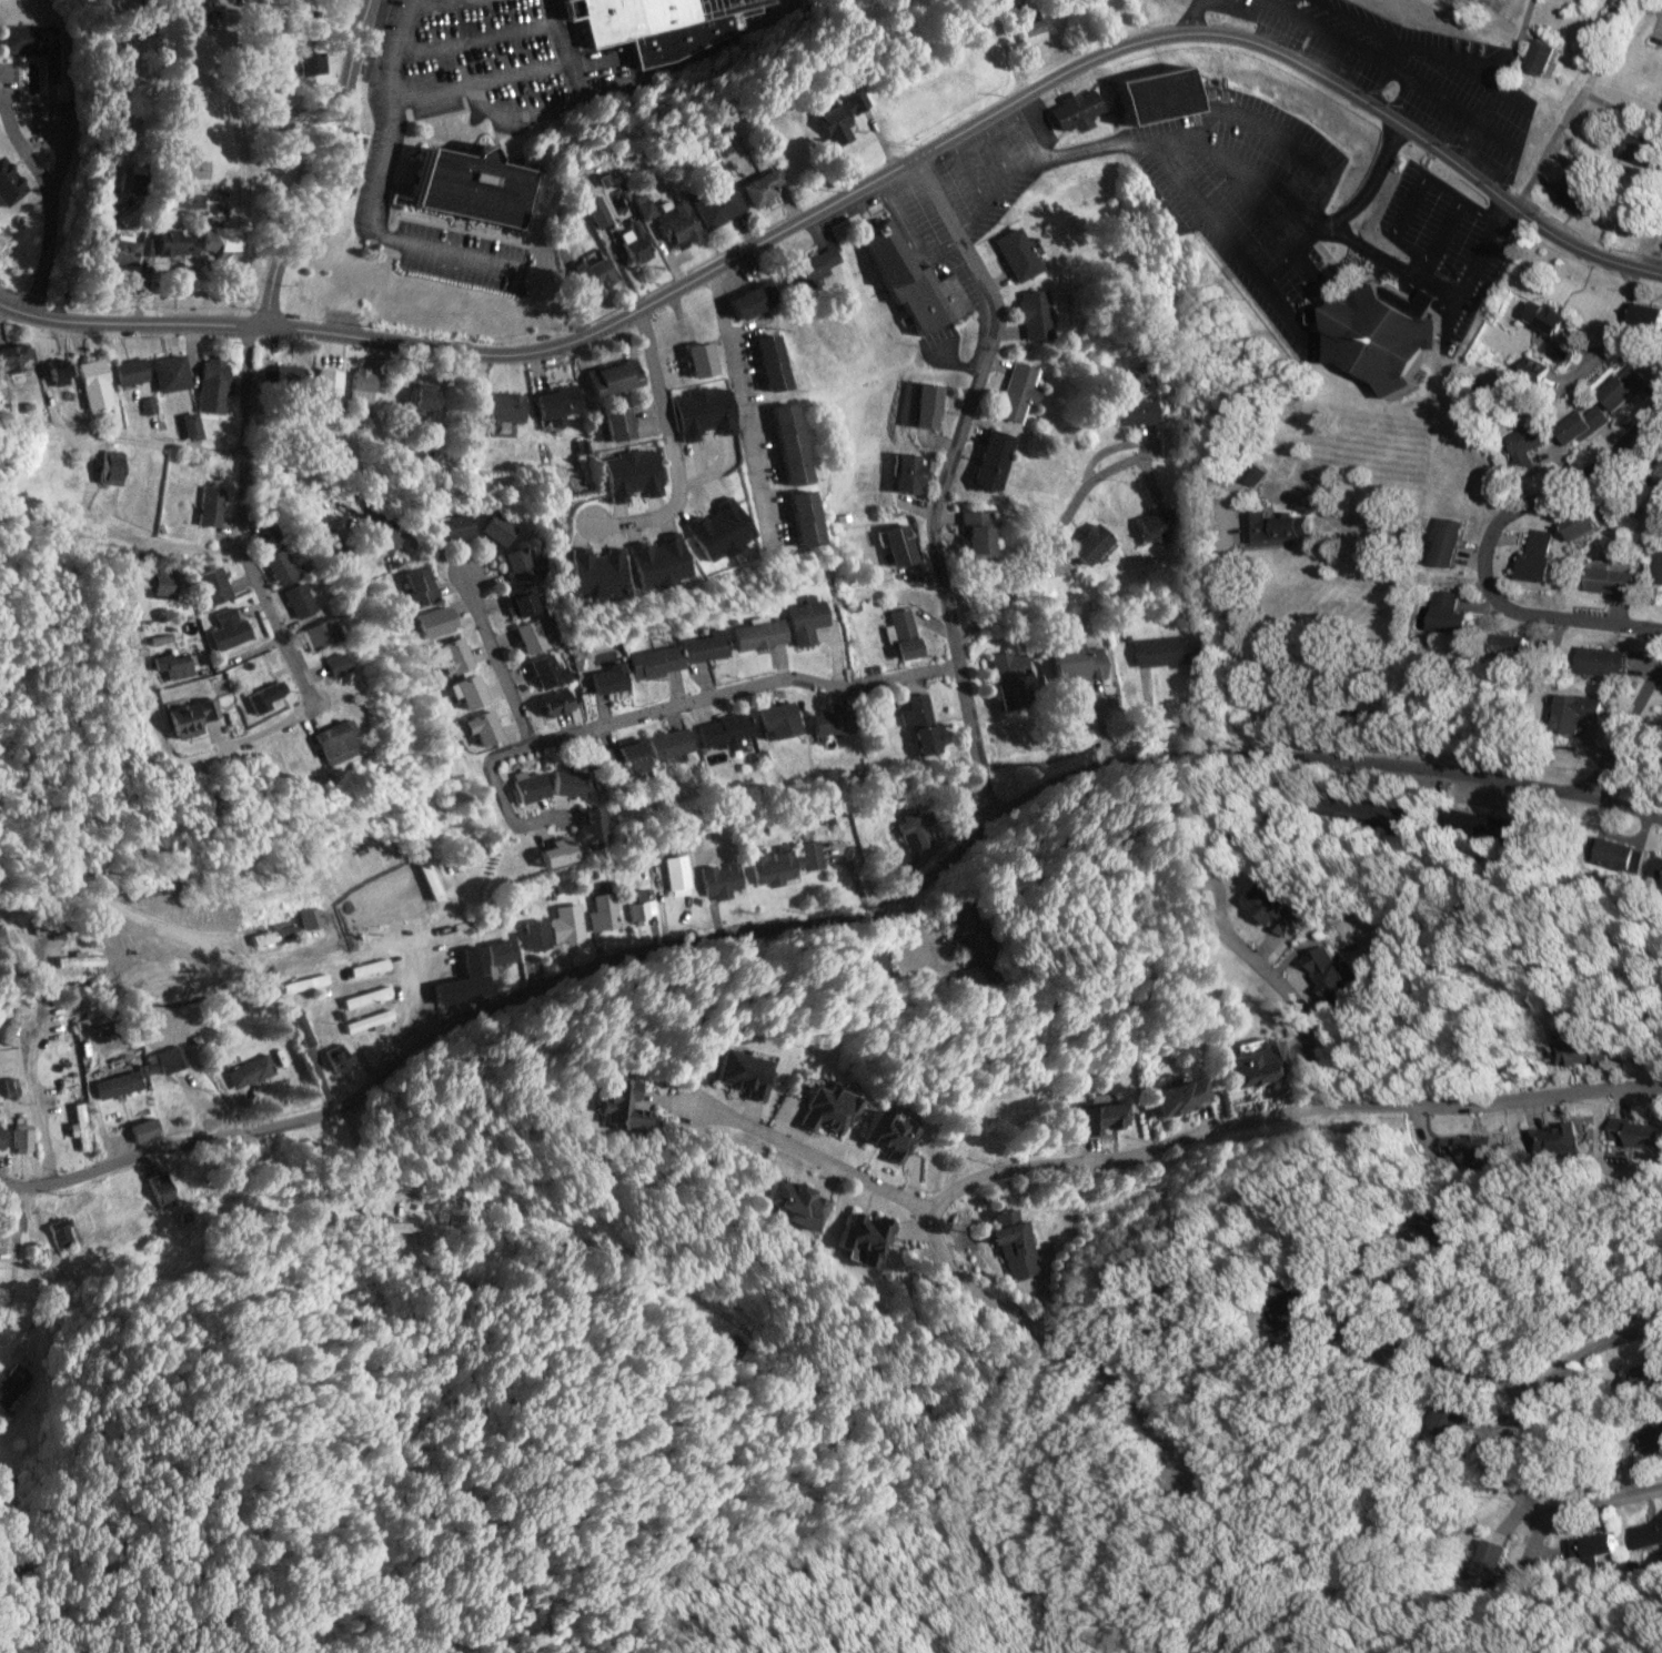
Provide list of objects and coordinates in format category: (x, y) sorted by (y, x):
road: (1236, 4)
building: (1612, 9)
road: (1190, 14)
road: (1358, 19)
building: (1027, 30)
building: (29, 39)
road: (1389, 52)
building: (1538, 53)
road: (1468, 63)
road: (1393, 68)
parking lot: (1403, 71)
building: (1149, 93)
road: (1487, 103)
building: (1069, 107)
building: (836, 118)
road: (1021, 130)
road: (1279, 133)
road: (1468, 143)
road: (993, 147)
road: (1081, 148)
building: (1635, 150)
road: (1233, 159)
parking lot: (991, 163)
road: (238, 167)
road: (330, 168)
road: (965, 169)
road: (860, 183)
road: (1416, 183)
building: (4, 184)
building: (466, 187)
building: (758, 189)
road: (994, 189)
parking lot: (1247, 198)
building: (1574, 198)
road: (47, 201)
building: (714, 205)
building: (595, 211)
road: (1342, 211)
road: (901, 212)
building: (675, 224)
parking lot: (916, 230)
road: (904, 236)
road: (1437, 236)
parking lot: (1442, 241)
building: (633, 243)
building: (161, 244)
building: (1014, 254)
road: (1389, 261)
road: (1470, 266)
building: (812, 270)
road: (708, 271)
building: (594, 274)
building: (908, 278)
road: (1407, 282)
road: (1423, 296)
building: (745, 300)
road: (1443, 301)
building: (1030, 314)
building: (1541, 316)
building: (1643, 319)
road: (1292, 323)
building: (1380, 333)
parking lot: (938, 343)
road: (1300, 344)
building: (11, 356)
building: (691, 360)
road: (954, 361)
building: (766, 362)
road: (652, 370)
building: (124, 371)
building: (164, 372)
road: (245, 373)
building: (53, 374)
building: (607, 377)
building: (209, 382)
building: (88, 383)
building: (356, 384)
building: (1620, 389)
building: (1013, 394)
building: (415, 400)
building: (553, 402)
building: (923, 406)
building: (495, 407)
road: (741, 410)
building: (1132, 411)
building: (611, 424)
building: (1578, 425)
building: (185, 426)
building: (779, 444)
building: (705, 454)
building: (984, 463)
building: (104, 468)
building: (905, 473)
road: (940, 475)
building: (1658, 475)
road: (274, 486)
building: (204, 506)
road: (665, 508)
building: (793, 518)
road: (240, 523)
building: (1156, 525)
building: (1579, 525)
building: (452, 527)
building: (1275, 527)
building: (496, 528)
building: (382, 533)
building: (970, 533)
road: (1050, 534)
road: (1483, 541)
building: (1443, 543)
building: (895, 545)
building: (1086, 545)
building: (1535, 557)
building: (1658, 564)
building: (272, 566)
building: (517, 566)
building: (1609, 581)
building: (159, 583)
building: (207, 583)
building: (416, 586)
building: (292, 599)
building: (518, 603)
building: (1446, 614)
building: (800, 621)
building: (434, 622)
building: (225, 629)
building: (315, 634)
building: (901, 634)
building: (754, 635)
building: (528, 637)
building: (698, 647)
building: (1510, 647)
building: (1160, 651)
building: (450, 656)
building: (649, 662)
building: (1077, 663)
building: (1600, 663)
building: (333, 664)
building: (172, 665)
building: (544, 671)
building: (1009, 677)
building: (603, 678)
road: (769, 679)
building: (466, 692)
building: (261, 696)
building: (553, 702)
building: (913, 709)
building: (1574, 712)
building: (187, 717)
building: (772, 722)
building: (822, 724)
road: (1625, 725)
building: (481, 728)
building: (718, 730)
road: (525, 734)
road: (558, 735)
building: (920, 740)
building: (328, 743)
building: (662, 744)
building: (615, 757)
building: (566, 783)
building: (527, 788)
road: (1625, 808)
building: (586, 825)
building: (914, 830)
building: (551, 854)
building: (786, 863)
building: (901, 863)
building: (676, 875)
building: (719, 878)
road: (1192, 878)
building: (429, 879)
building: (1661, 885)
building: (1269, 908)
building: (637, 909)
building: (604, 911)
building: (306, 919)
road: (793, 919)
building: (566, 924)
building: (274, 936)
building: (533, 936)
building: (1, 941)
building: (498, 951)
building: (78, 961)
building: (367, 968)
building: (1327, 974)
building: (462, 980)
building: (303, 984)
road: (420, 994)
building: (365, 997)
road: (1292, 997)
building: (311, 1016)
building: (12, 1022)
building: (1579, 1051)
building: (336, 1058)
building: (163, 1060)
building: (1255, 1065)
building: (249, 1071)
building: (737, 1071)
building: (118, 1083)
building: (1177, 1096)
building: (608, 1102)
building: (815, 1109)
building: (1101, 1116)
building: (80, 1126)
building: (143, 1129)
building: (1630, 1132)
building: (885, 1136)
building: (1, 1137)
building: (1548, 1138)
building: (20, 1139)
building: (1479, 1140)
road: (1157, 1142)
building: (162, 1190)
building: (789, 1202)
building: (402, 1227)
building: (62, 1232)
building: (857, 1237)
building: (1011, 1242)
road: (1352, 1259)
building: (1276, 1306)
road: (1055, 1338)
road: (1429, 1359)
building: (13, 1384)
building: (1444, 1415)
building: (1650, 1434)
road: (1498, 1435)
building: (1650, 1535)
building: (1596, 1546)
building: (1494, 1560)

